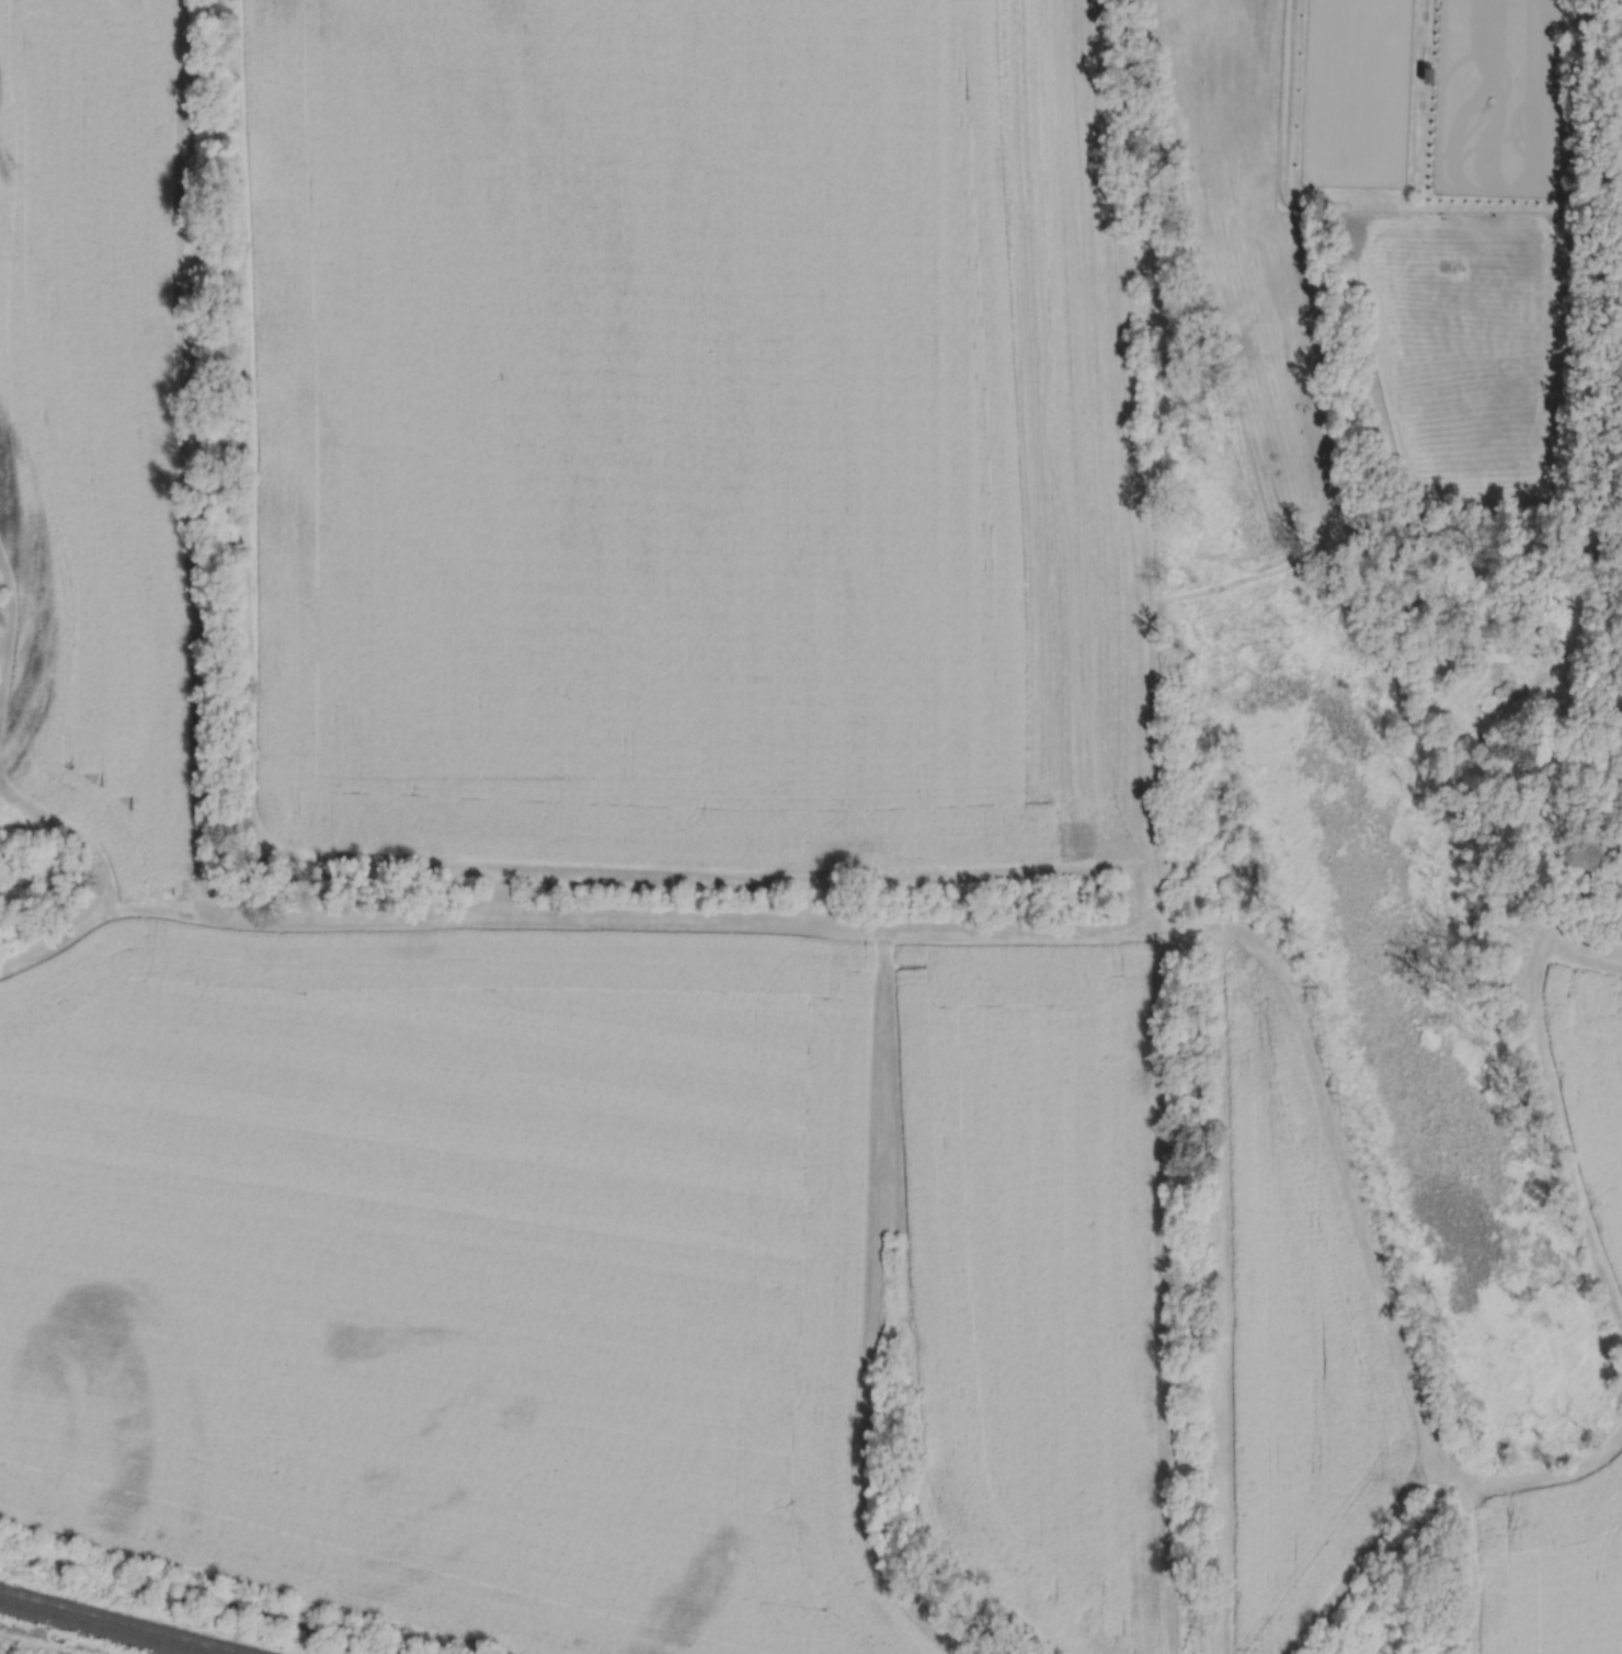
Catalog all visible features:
road: (1560, 366)
road: (1594, 505)
road: (1609, 535)
railway: (124, 1622)
railway: (105, 1627)

